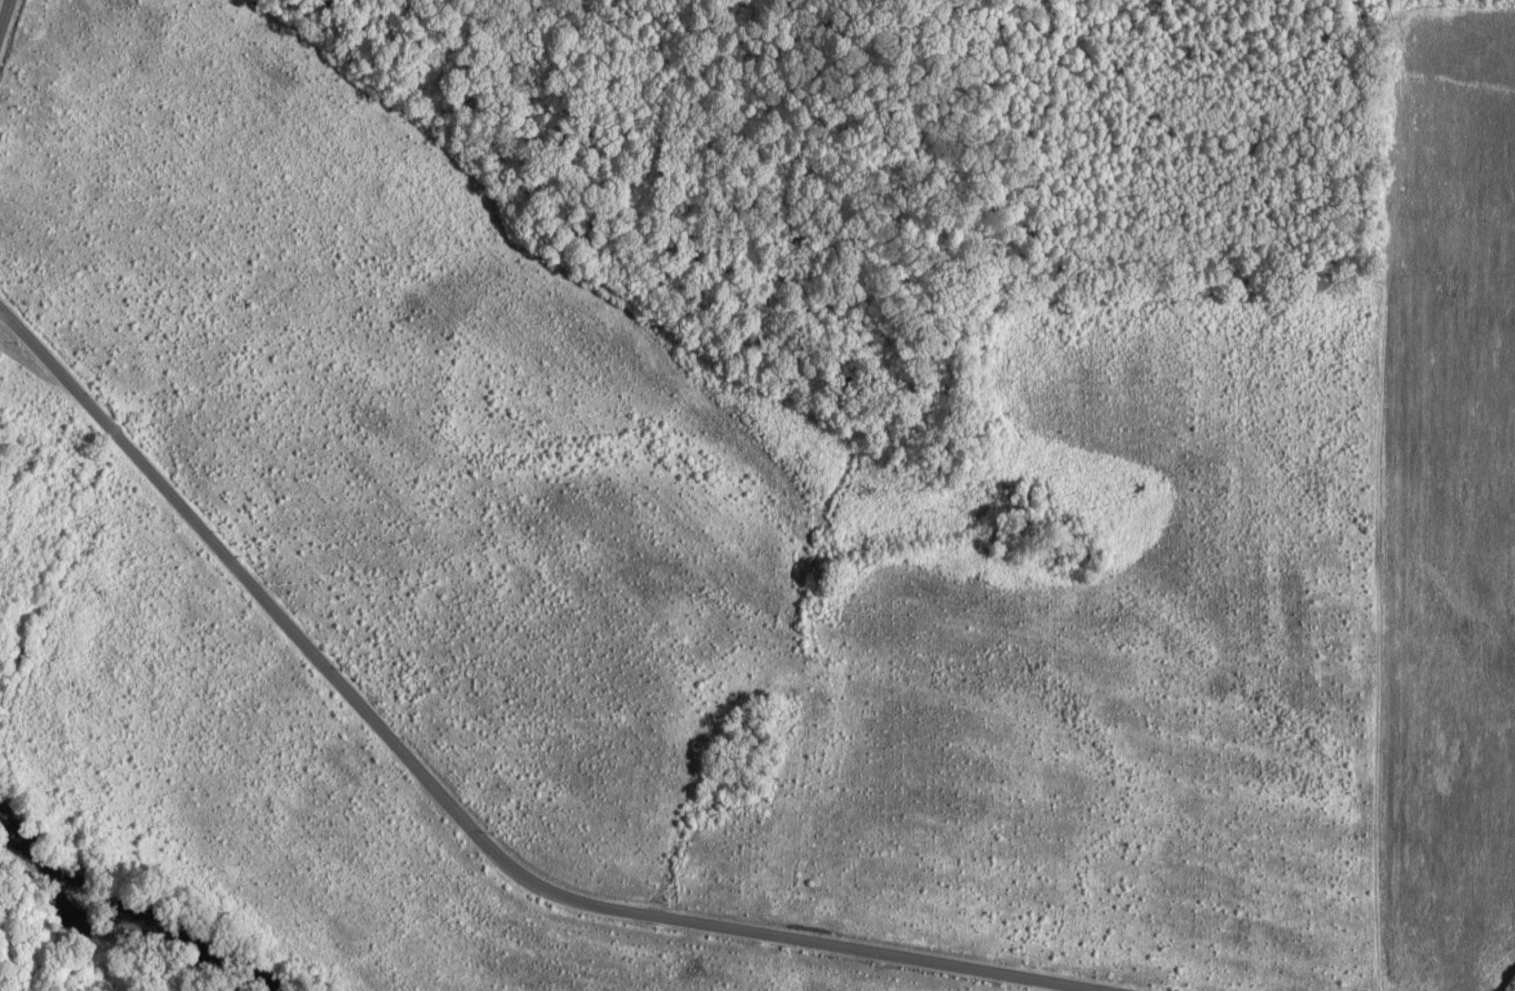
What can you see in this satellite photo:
road: (4, 14)
road: (1378, 643)
road: (461, 816)
river: (136, 915)

